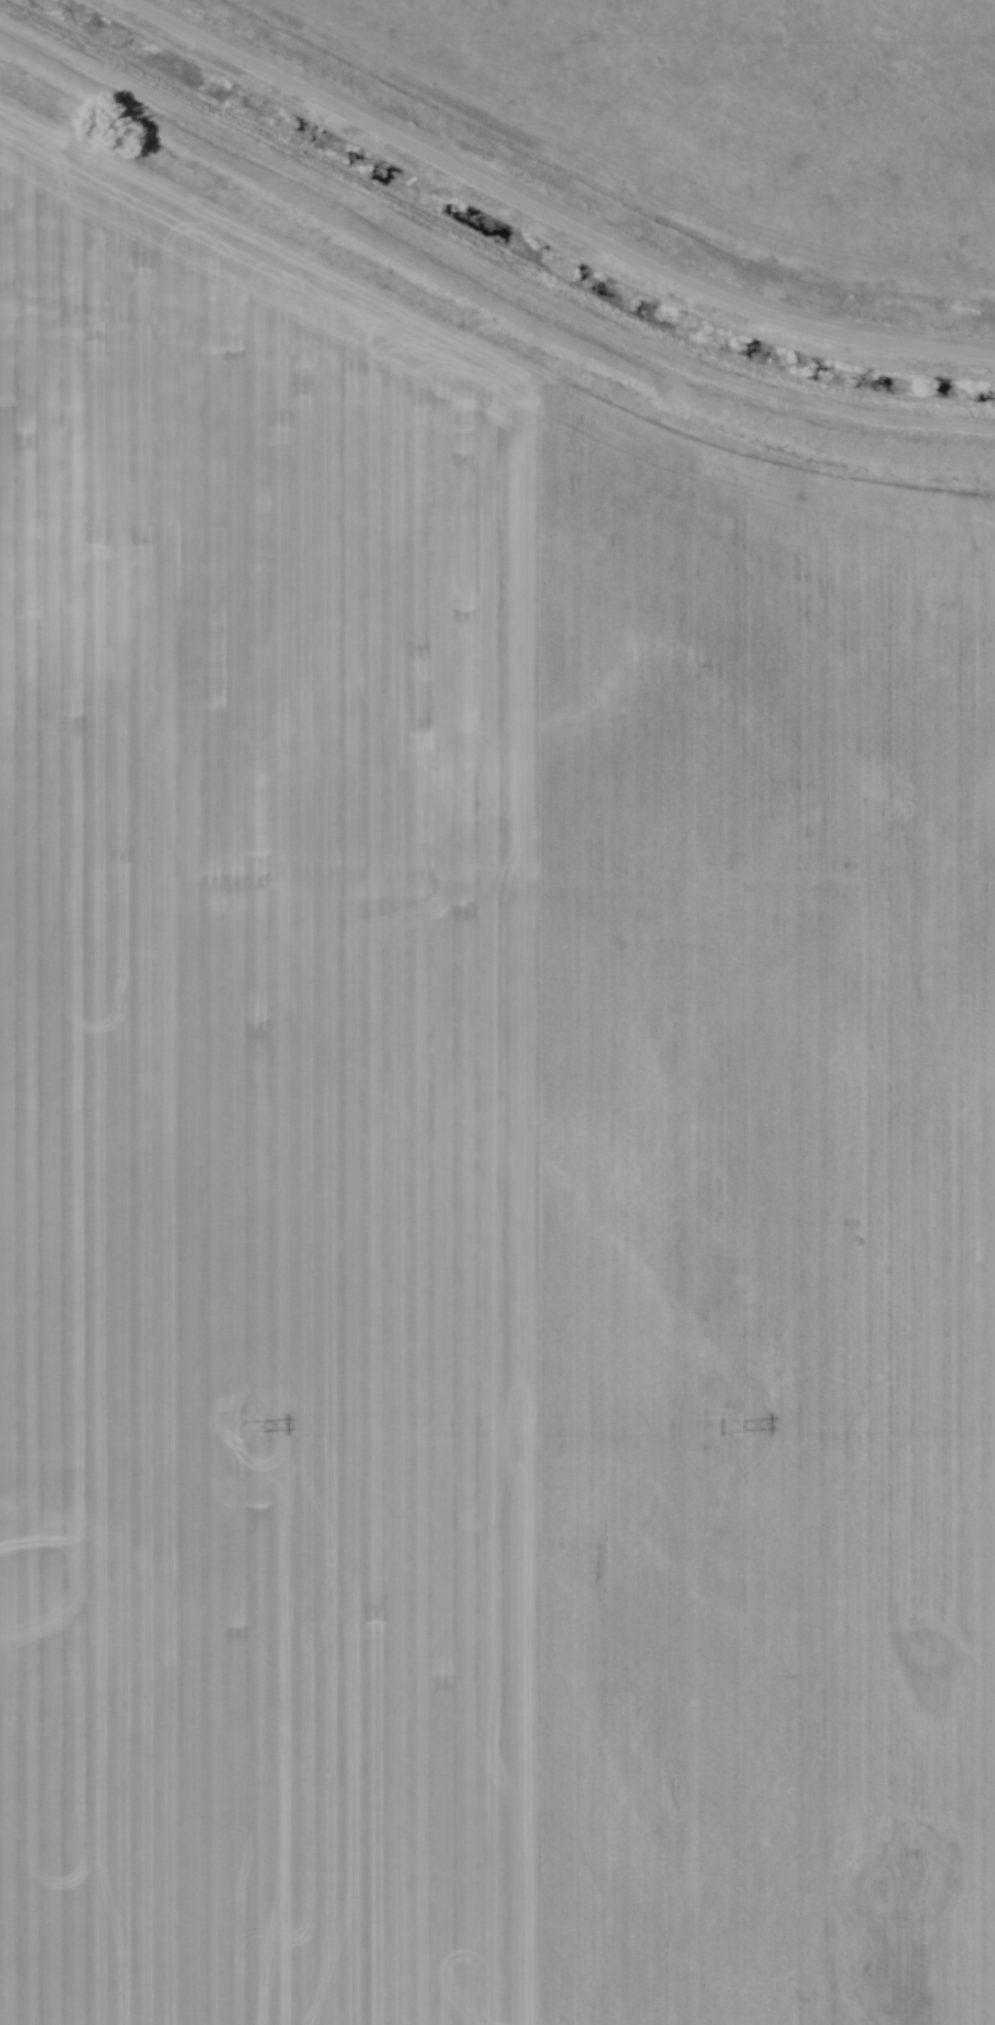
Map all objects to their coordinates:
road: (545, 216)
power tower: (245, 1427)
power tower: (720, 1430)

